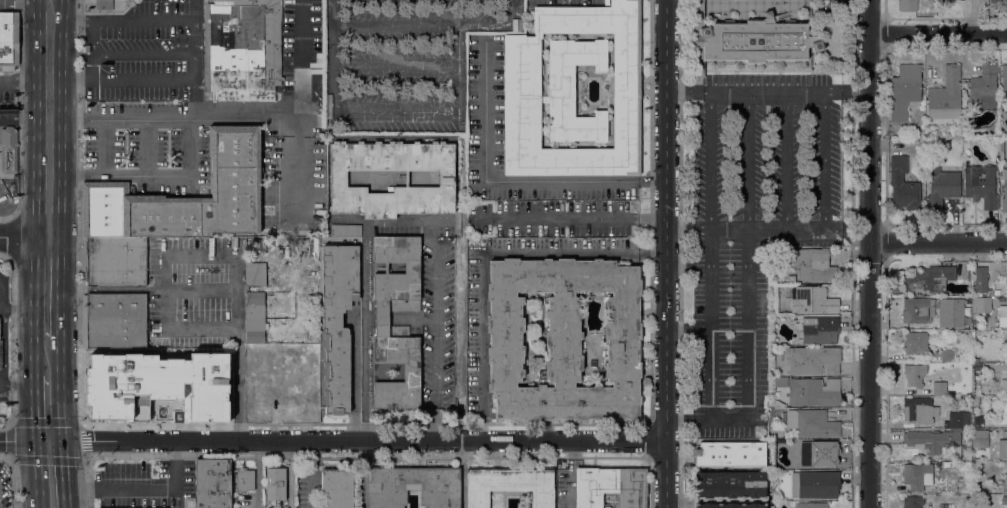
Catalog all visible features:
building: (946, 1)
building: (996, 1)
road: (32, 2)
building: (104, 5)
building: (907, 5)
road: (884, 10)
road: (515, 14)
road: (145, 21)
road: (65, 22)
road: (482, 24)
road: (396, 25)
road: (333, 33)
road: (884, 33)
road: (938, 34)
building: (698, 39)
building: (9, 41)
building: (758, 41)
road: (459, 45)
building: (242, 49)
road: (94, 51)
road: (145, 53)
road: (196, 59)
road: (303, 65)
road: (396, 66)
road: (145, 80)
road: (65, 81)
building: (1004, 81)
building: (983, 83)
road: (18, 84)
road: (458, 84)
building: (522, 85)
road: (61, 87)
road: (37, 88)
road: (746, 89)
road: (848, 89)
building: (573, 90)
building: (904, 91)
building: (946, 95)
building: (543, 98)
road: (377, 105)
road: (485, 110)
road: (246, 117)
road: (30, 118)
road: (82, 119)
road: (885, 136)
road: (103, 146)
road: (148, 146)
building: (8, 150)
road: (712, 160)
road: (785, 160)
road: (827, 160)
road: (82, 174)
road: (174, 174)
road: (48, 176)
building: (235, 176)
building: (338, 178)
road: (561, 180)
road: (650, 181)
building: (903, 185)
building: (980, 185)
building: (942, 187)
building: (1004, 192)
road: (747, 193)
road: (36, 206)
road: (60, 206)
road: (555, 220)
road: (390, 221)
road: (650, 221)
parking lot: (759, 224)
building: (346, 230)
road: (764, 232)
road: (17, 236)
road: (47, 236)
road: (884, 242)
road: (938, 242)
building: (257, 244)
road: (652, 253)
road: (664, 253)
railway: (48, 254)
road: (199, 254)
road: (561, 254)
road: (869, 254)
building: (115, 261)
road: (721, 264)
building: (814, 265)
building: (1006, 266)
building: (255, 274)
building: (791, 278)
building: (928, 279)
building: (979, 281)
road: (60, 288)
road: (163, 291)
road: (200, 292)
road: (2, 293)
road: (727, 298)
building: (813, 301)
building: (981, 305)
road: (33, 306)
road: (2, 308)
building: (917, 309)
road: (436, 315)
building: (1002, 316)
building: (254, 317)
building: (382, 318)
building: (114, 320)
building: (943, 320)
building: (337, 322)
road: (201, 329)
building: (820, 330)
road: (367, 331)
building: (1006, 336)
road: (482, 339)
building: (563, 339)
road: (4, 342)
building: (915, 342)
road: (237, 348)
road: (711, 351)
building: (1, 354)
building: (227, 354)
building: (253, 356)
building: (947, 356)
road: (757, 359)
building: (812, 360)
building: (592, 362)
road: (59, 366)
road: (152, 366)
building: (914, 375)
road: (354, 380)
road: (2, 381)
road: (885, 383)
building: (263, 384)
building: (171, 385)
building: (1004, 385)
road: (131, 386)
building: (939, 388)
road: (60, 390)
building: (813, 392)
building: (997, 400)
road: (164, 405)
road: (34, 409)
building: (919, 410)
building: (957, 420)
building: (979, 420)
road: (710, 421)
road: (205, 423)
building: (811, 423)
road: (82, 424)
road: (437, 425)
road: (483, 433)
building: (1005, 434)
building: (980, 438)
building: (933, 439)
road: (17, 441)
traffic signals: (36, 441)
road: (49, 441)
traffic signals: (63, 441)
road: (363, 442)
building: (1002, 448)
building: (730, 453)
building: (815, 453)
road: (36, 474)
road: (64, 474)
road: (310, 474)
building: (915, 475)
building: (244, 479)
building: (212, 483)
building: (275, 483)
building: (815, 484)
building: (510, 485)
building: (413, 486)
building: (611, 486)
building: (336, 488)
road: (570, 489)
building: (730, 490)
road: (144, 493)
building: (1004, 500)
building: (912, 501)
building: (813, 505)
building: (276, 506)
building: (125, 507)

